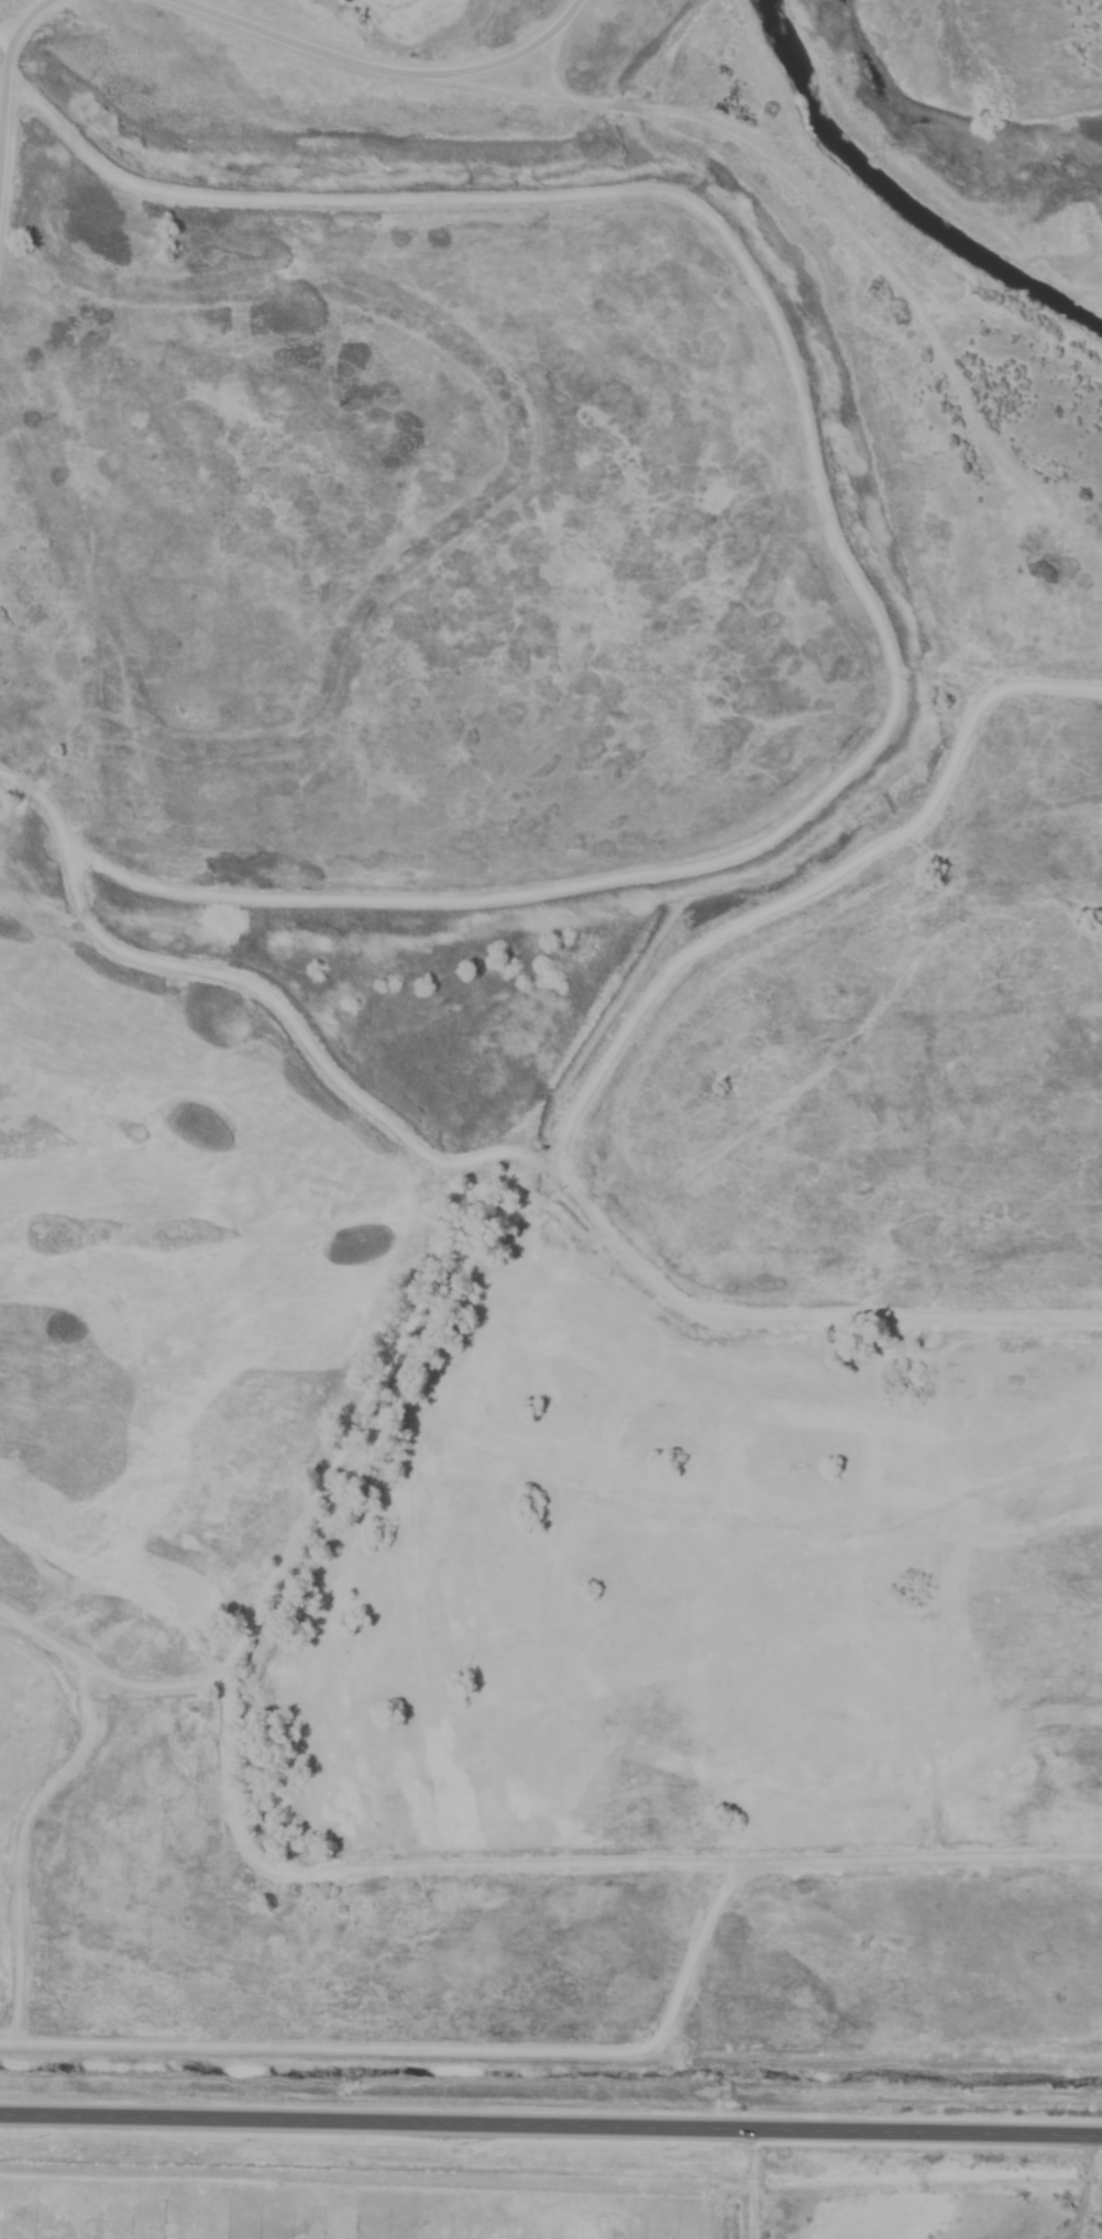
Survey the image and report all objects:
road: (18, 19)
road: (1, 46)
road: (1, 58)
road: (375, 69)
road: (835, 230)
road: (484, 1217)
road: (782, 1313)
road: (46, 1800)
road: (551, 2121)
crop: (350, 2166)
road: (757, 2182)
road: (1084, 2188)
railway: (551, 2214)

